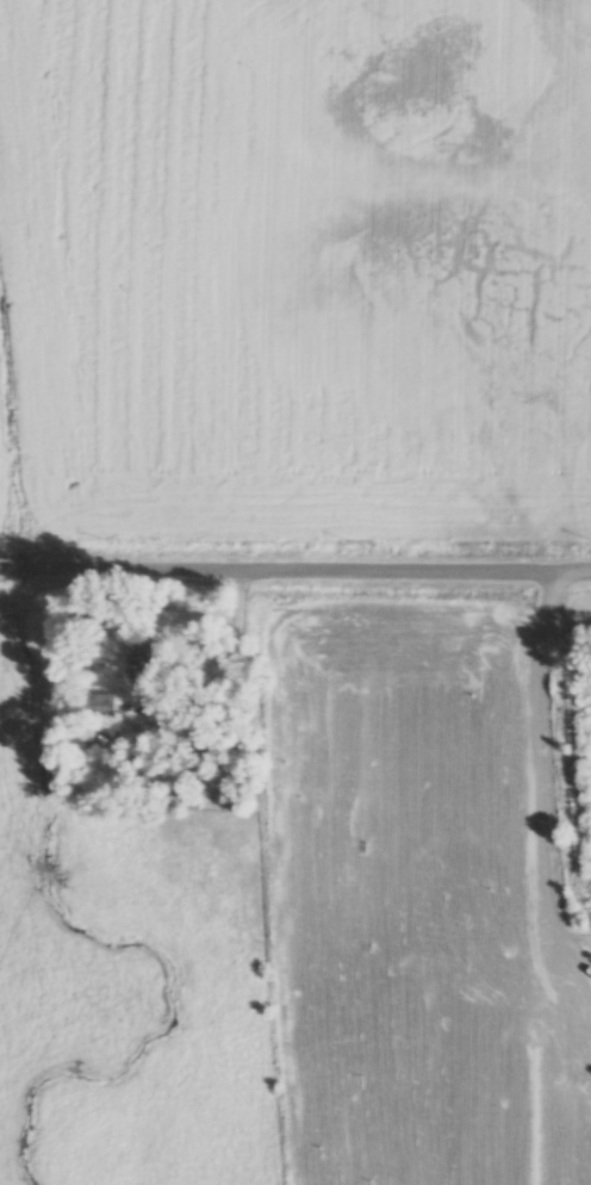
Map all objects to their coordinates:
road: (295, 570)

